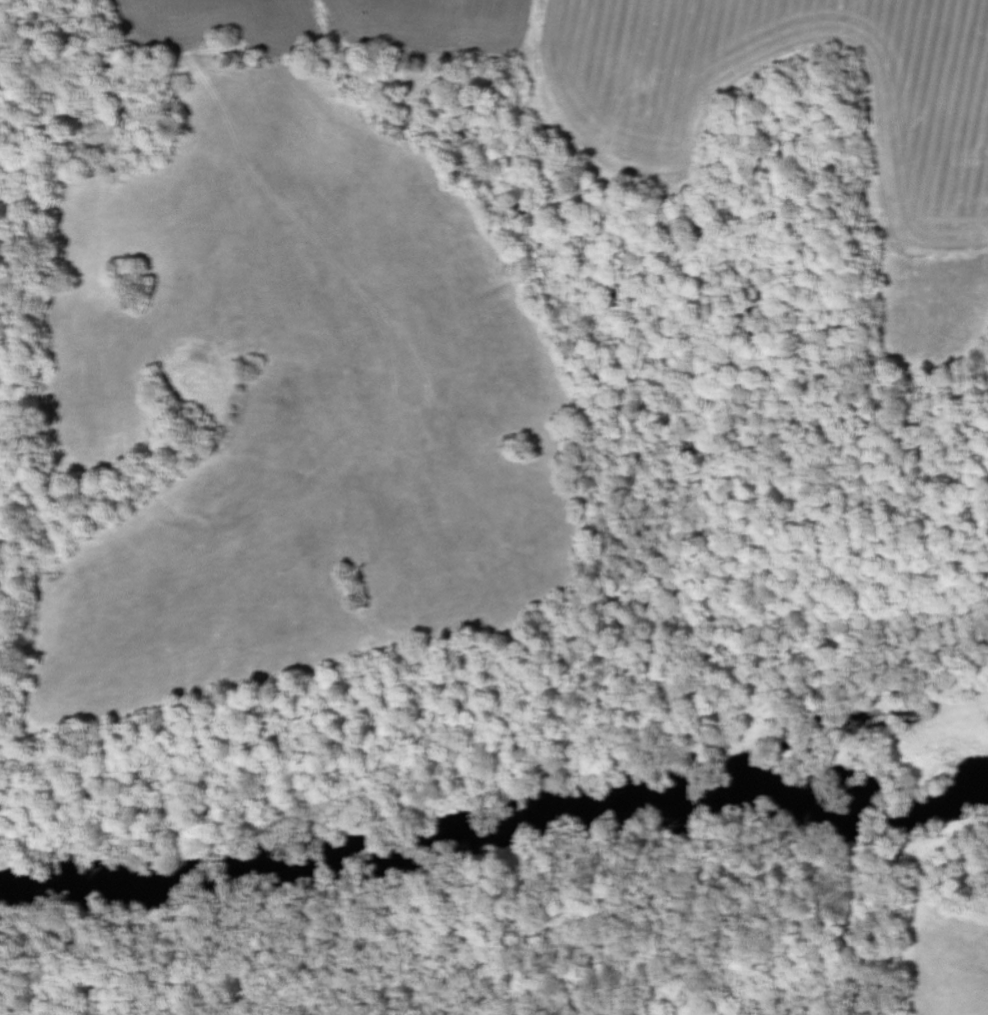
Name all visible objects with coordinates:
river: (503, 829)

